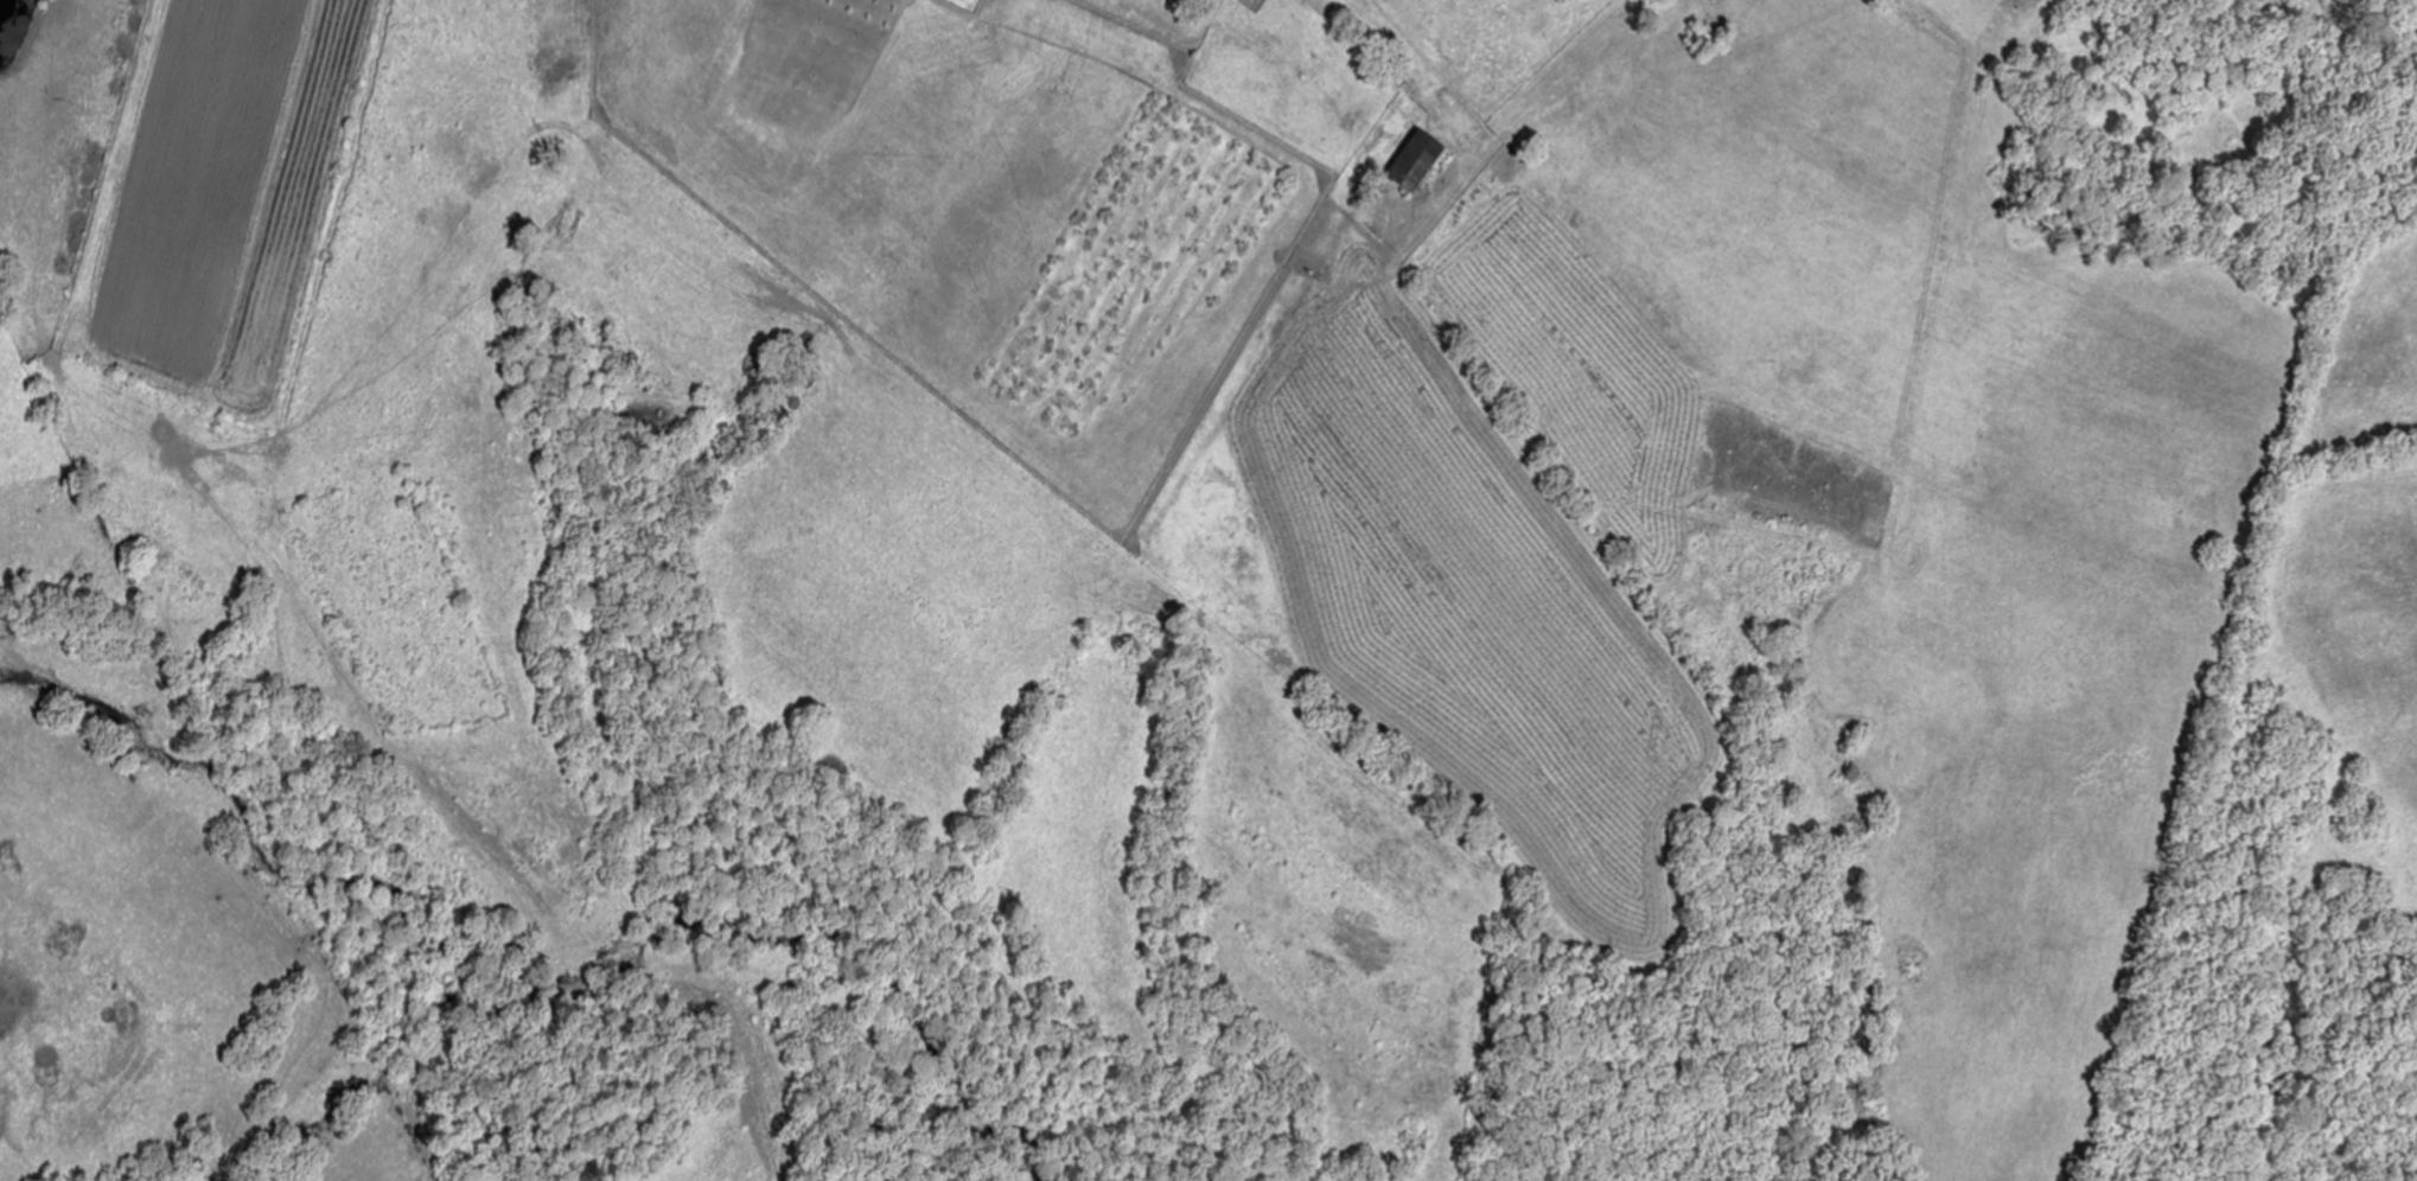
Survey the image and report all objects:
building: (1416, 160)

